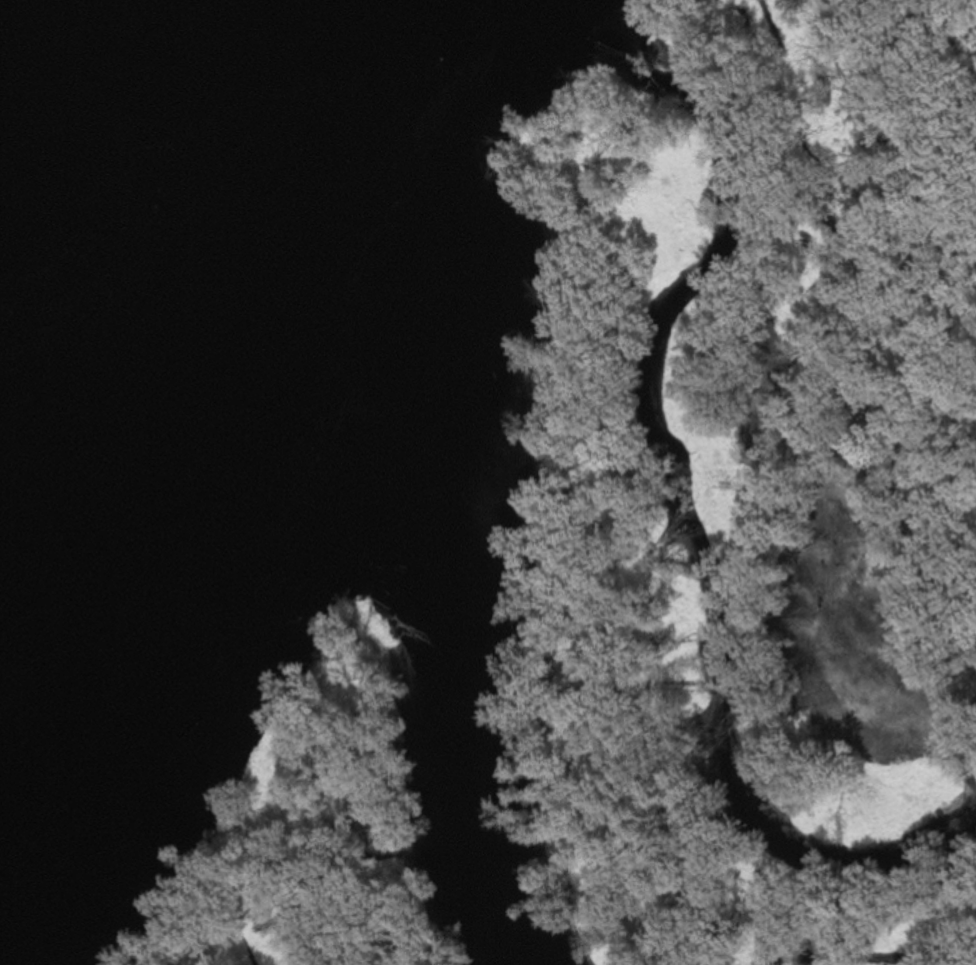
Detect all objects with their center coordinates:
river: (68, 211)
river: (449, 622)

